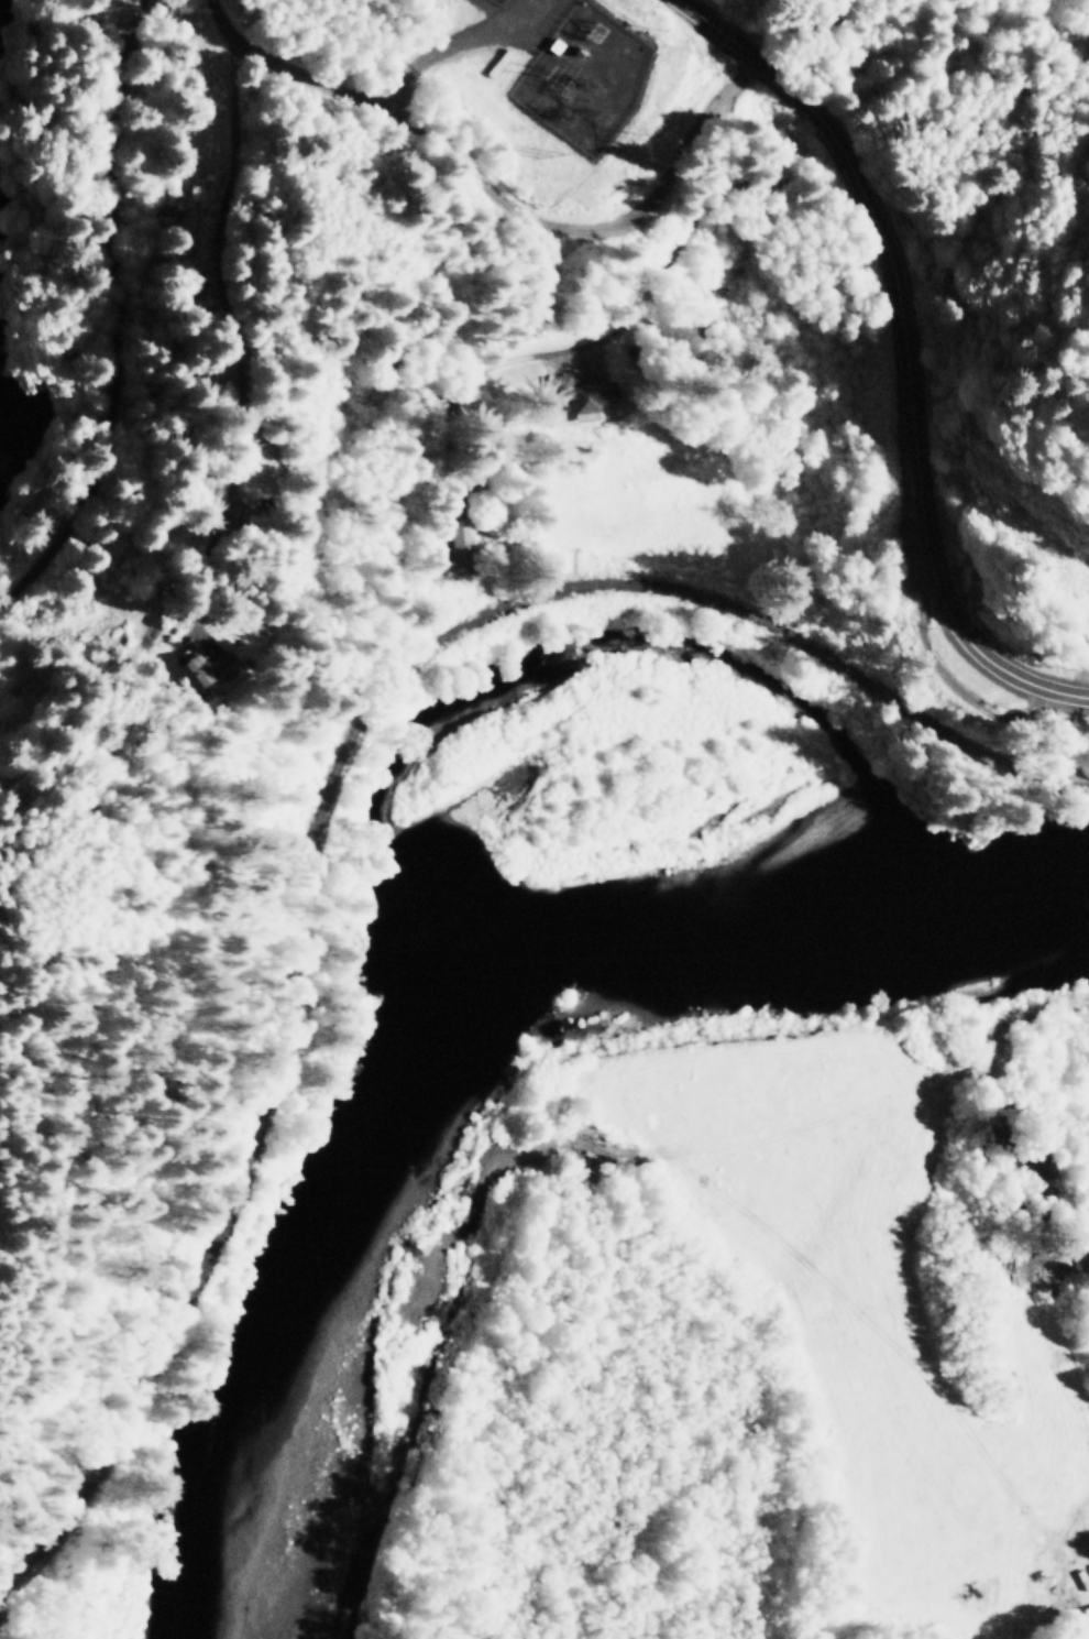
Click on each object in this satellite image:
road: (820, 26)
power substation: (582, 77)
road: (491, 190)
road: (207, 330)
road: (917, 348)
building: (460, 543)
building: (194, 664)
railway: (328, 780)
river: (452, 1014)
crop: (871, 1305)
building: (1083, 1636)

